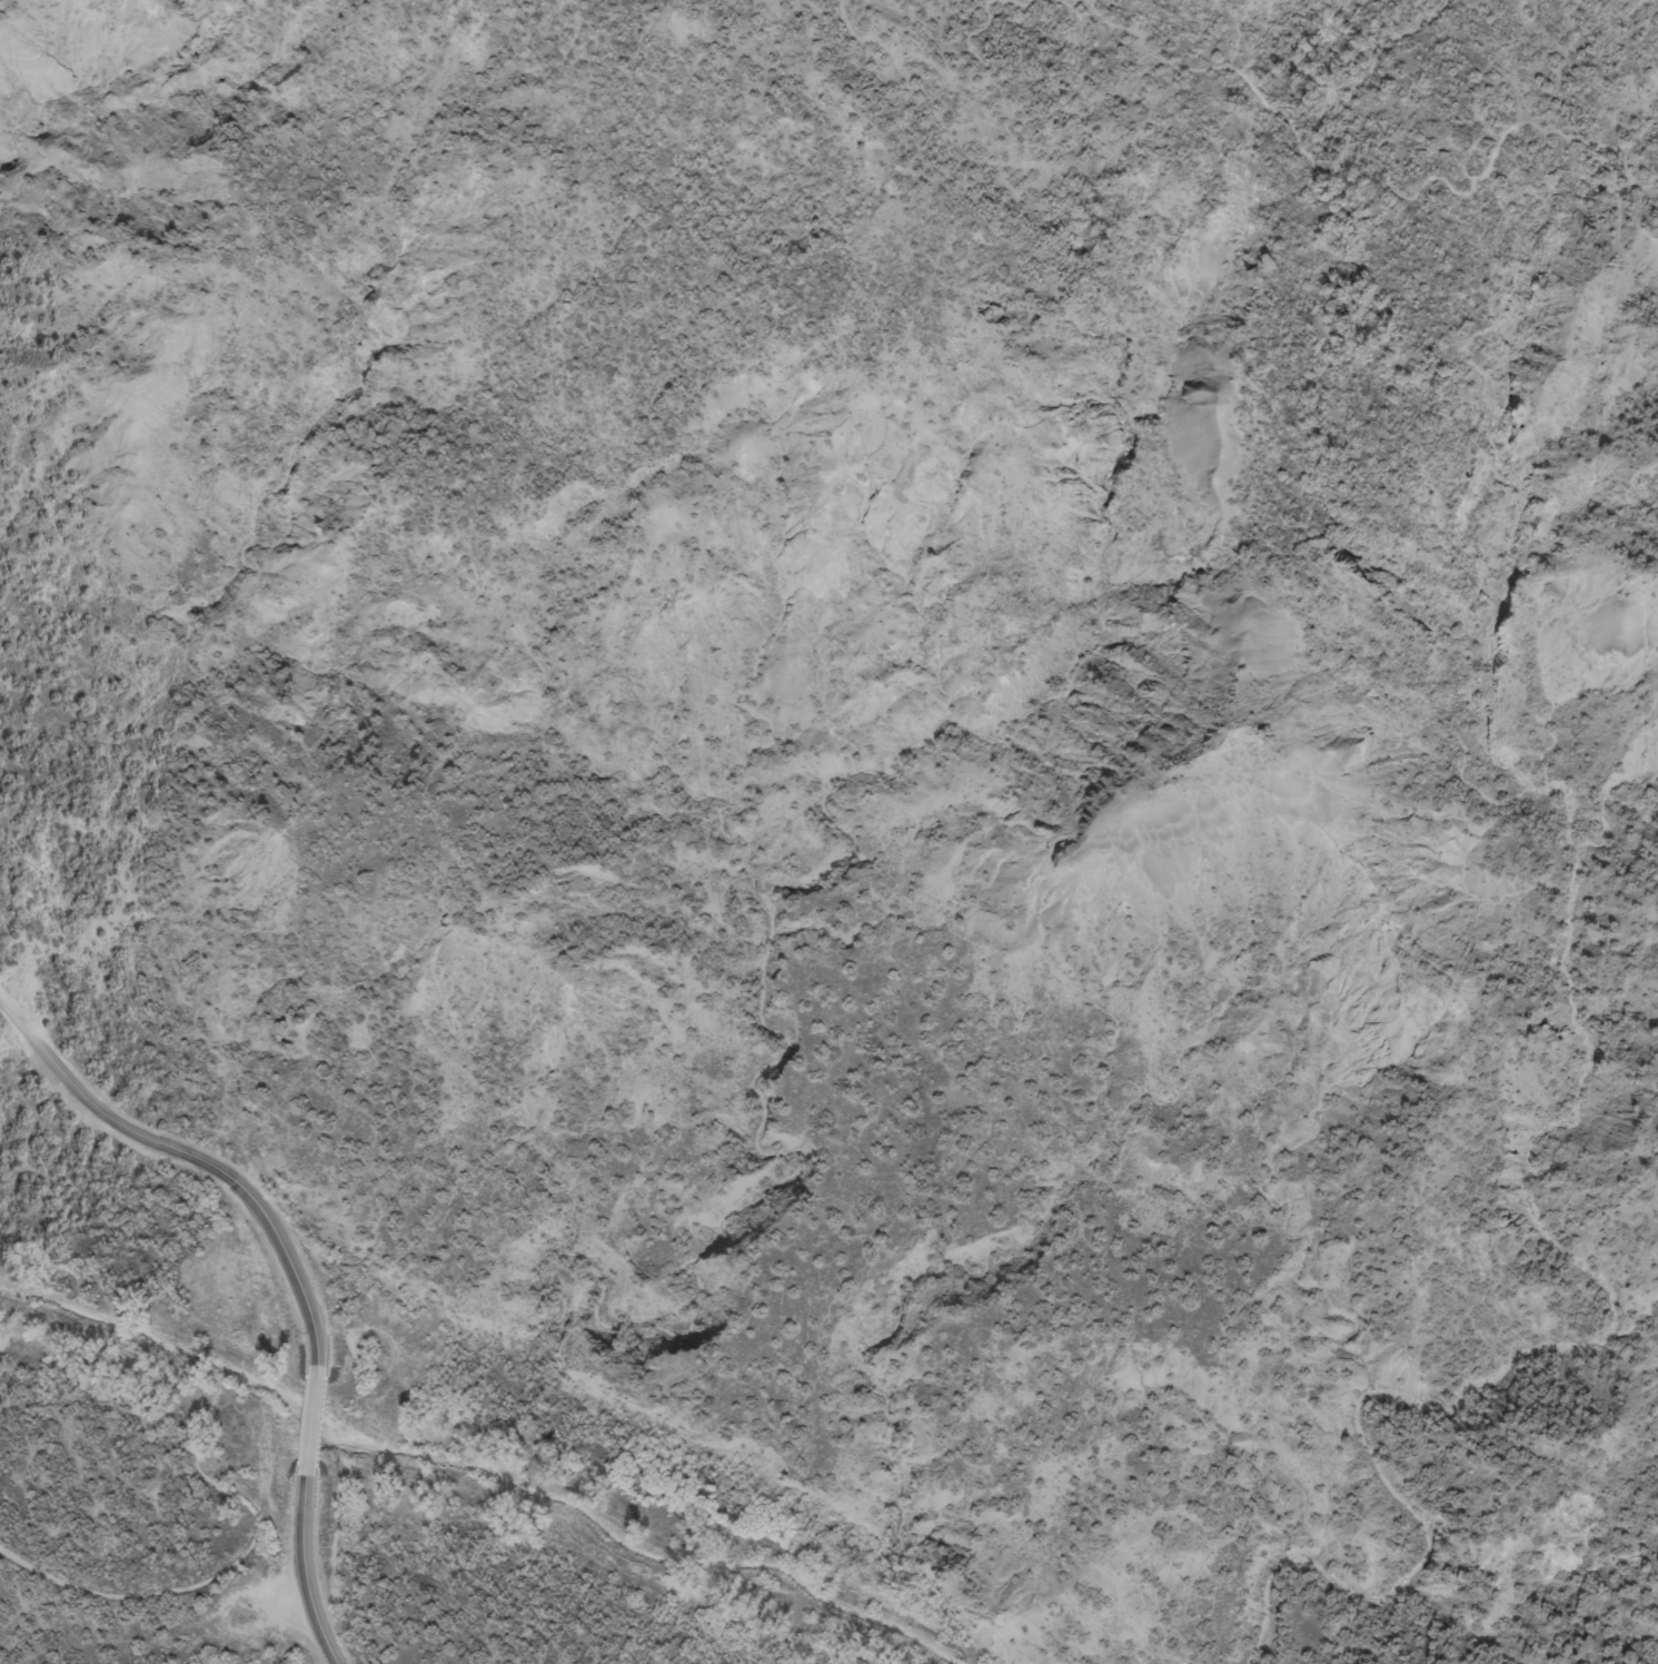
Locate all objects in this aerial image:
road: (942, 67)
road: (1390, 188)
road: (199, 1158)
road: (315, 1419)
river: (484, 1468)
road: (306, 1565)

